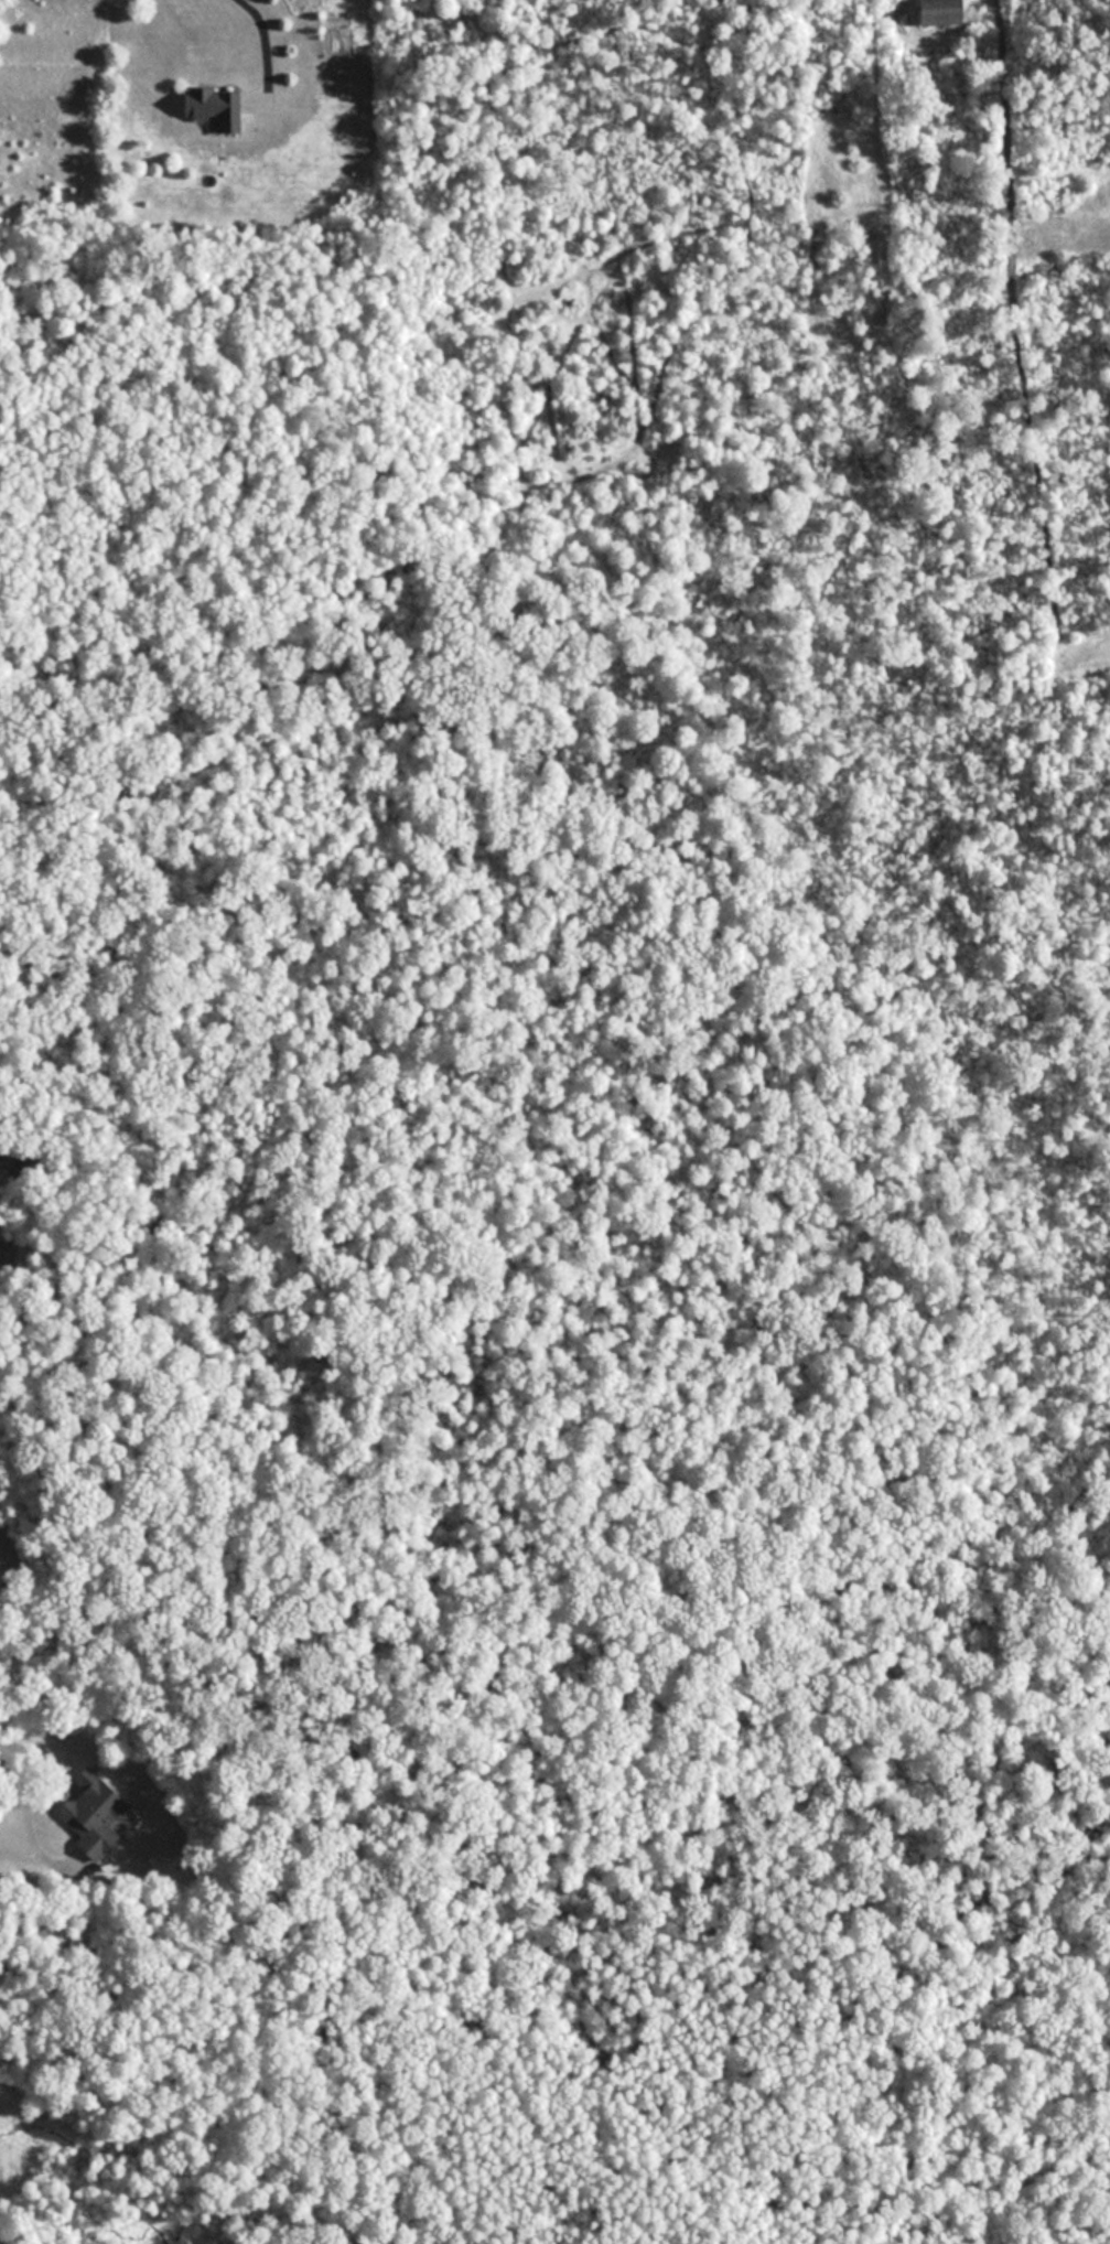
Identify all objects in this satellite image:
building: (923, 11)
road: (267, 42)
building: (205, 107)
building: (93, 1806)
park: (560, 2060)

